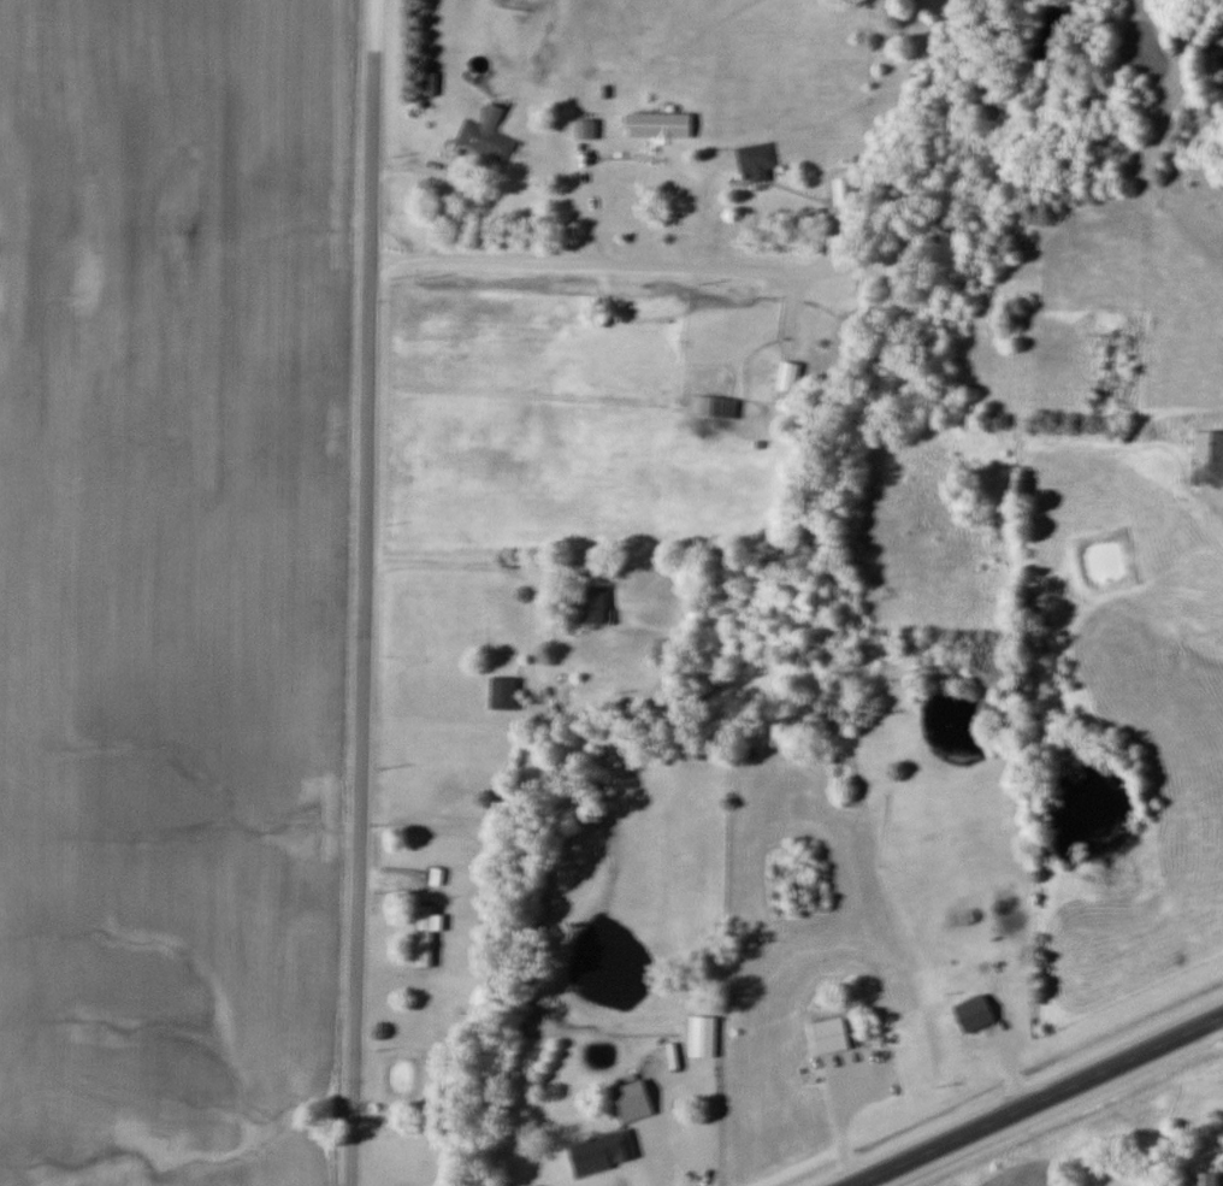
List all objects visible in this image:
building: (662, 124)
building: (587, 128)
building: (489, 134)
building: (760, 159)
road: (583, 202)
road: (613, 264)
building: (1127, 350)
building: (790, 374)
building: (720, 405)
building: (1210, 442)
road: (1219, 512)
road: (467, 565)
road: (356, 592)
building: (597, 602)
building: (504, 691)
building: (977, 1011)
road: (1222, 1017)
building: (704, 1034)
building: (834, 1034)
building: (637, 1099)
road: (1039, 1101)
road: (655, 1121)
building: (604, 1150)
building: (1207, 1178)

